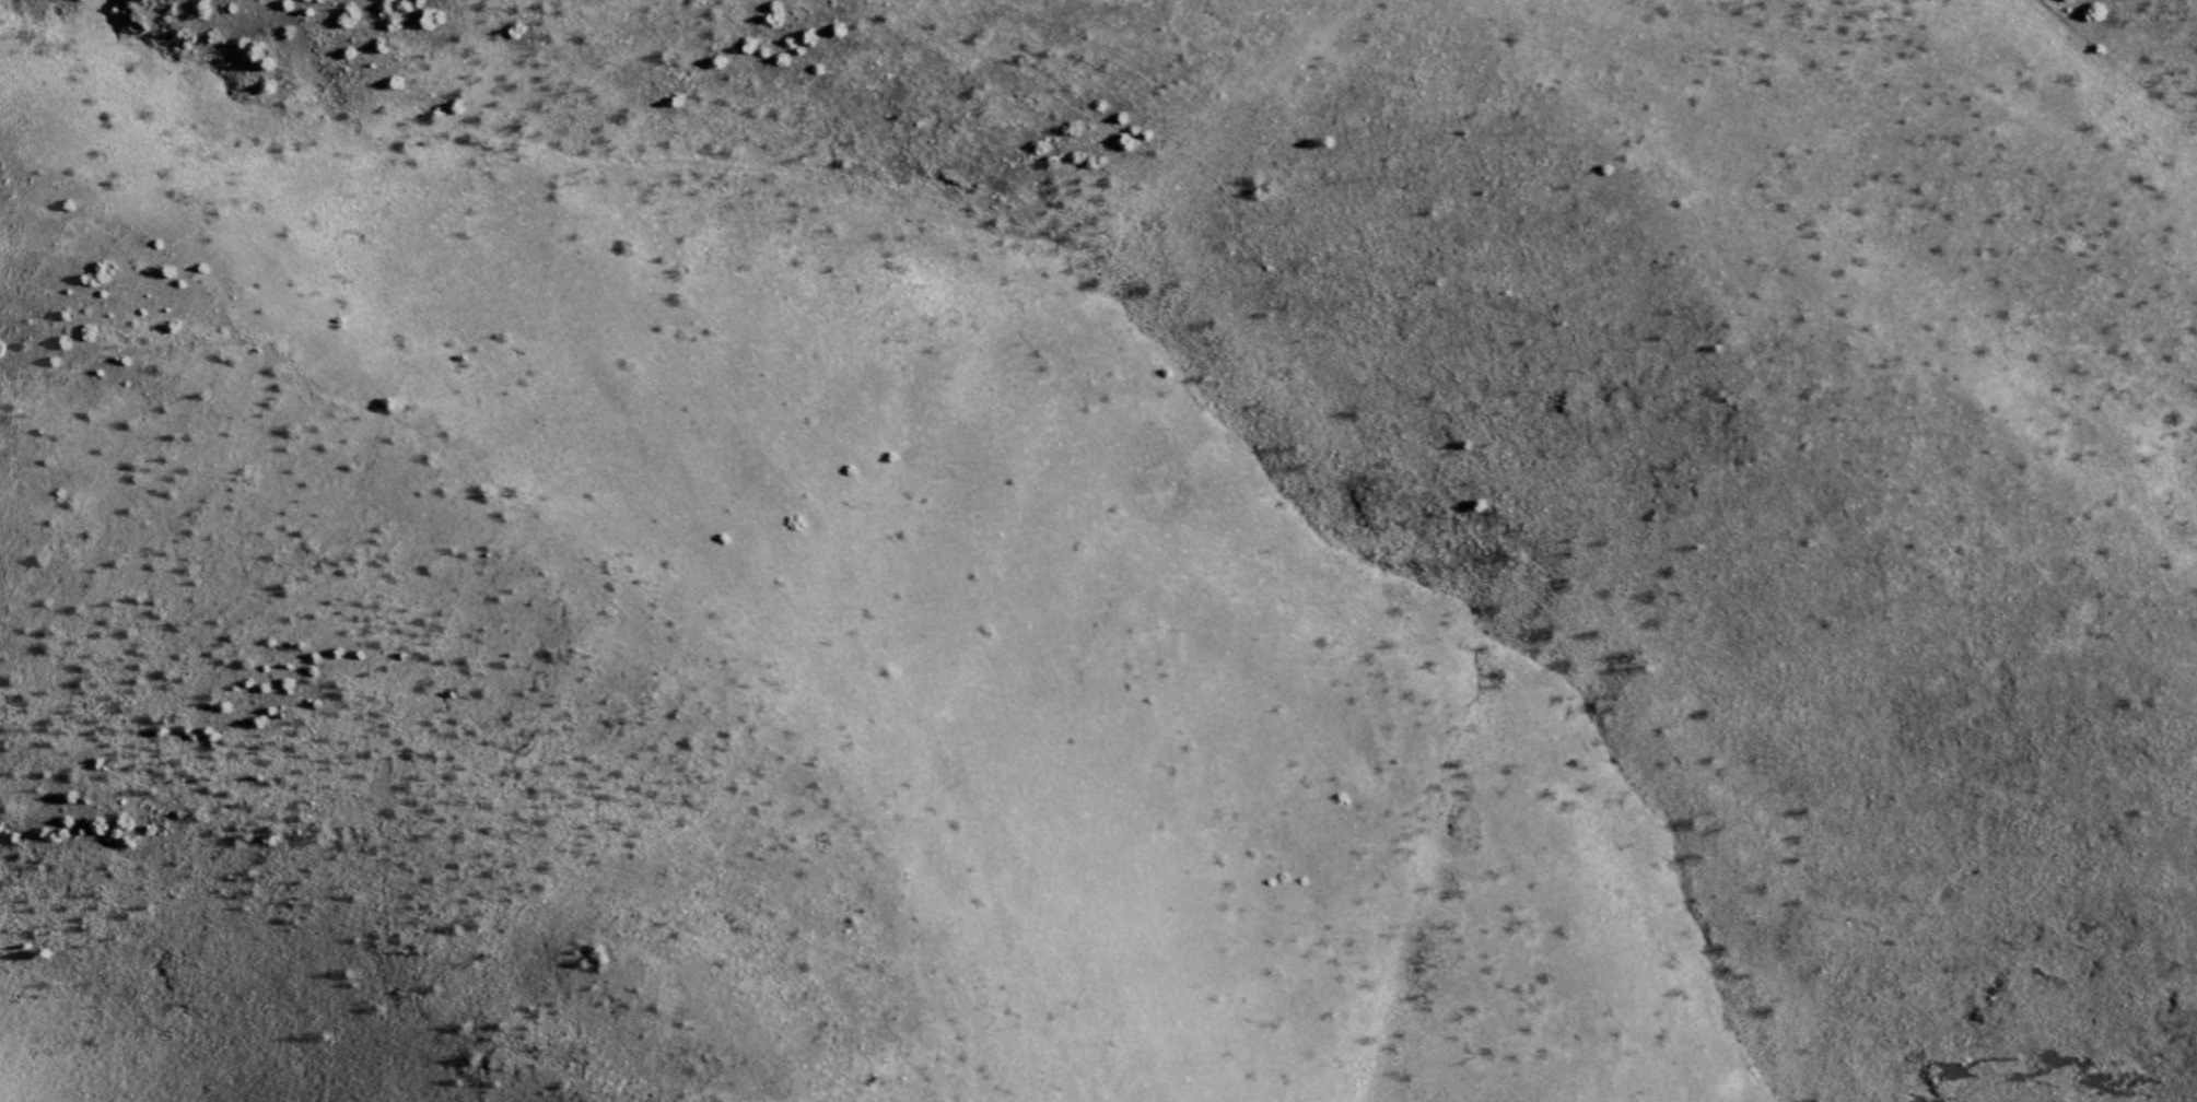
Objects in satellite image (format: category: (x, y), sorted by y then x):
road: (2143, 40)

